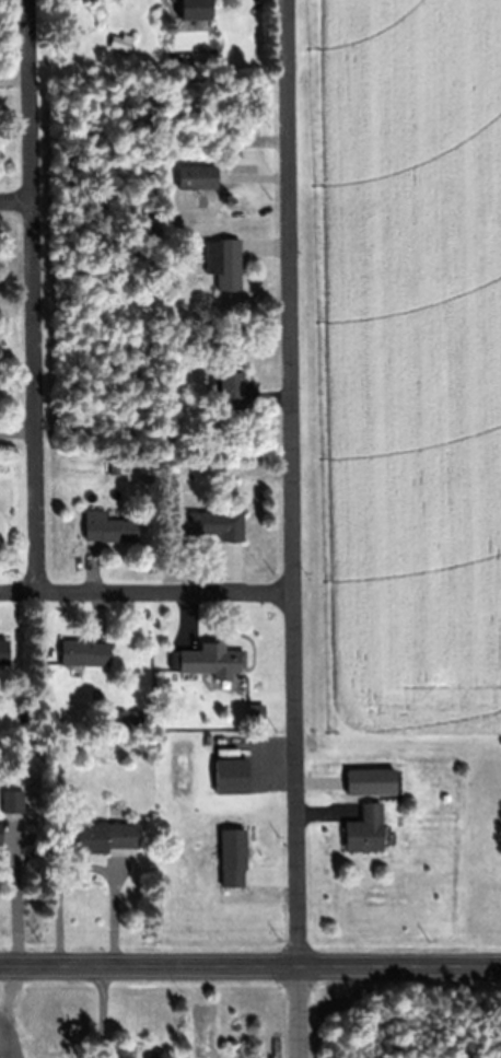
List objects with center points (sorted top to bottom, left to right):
building: (193, 10)
building: (179, 54)
building: (197, 178)
road: (14, 204)
building: (223, 261)
road: (31, 295)
crop: (407, 369)
building: (228, 384)
building: (114, 467)
road: (288, 483)
building: (213, 523)
building: (107, 527)
road: (144, 592)
building: (3, 651)
building: (83, 653)
building: (212, 662)
building: (119, 718)
building: (372, 783)
building: (12, 800)
building: (364, 828)
building: (0, 835)
building: (100, 836)
building: (233, 860)
road: (249, 965)
road: (302, 1012)
building: (165, 1057)

